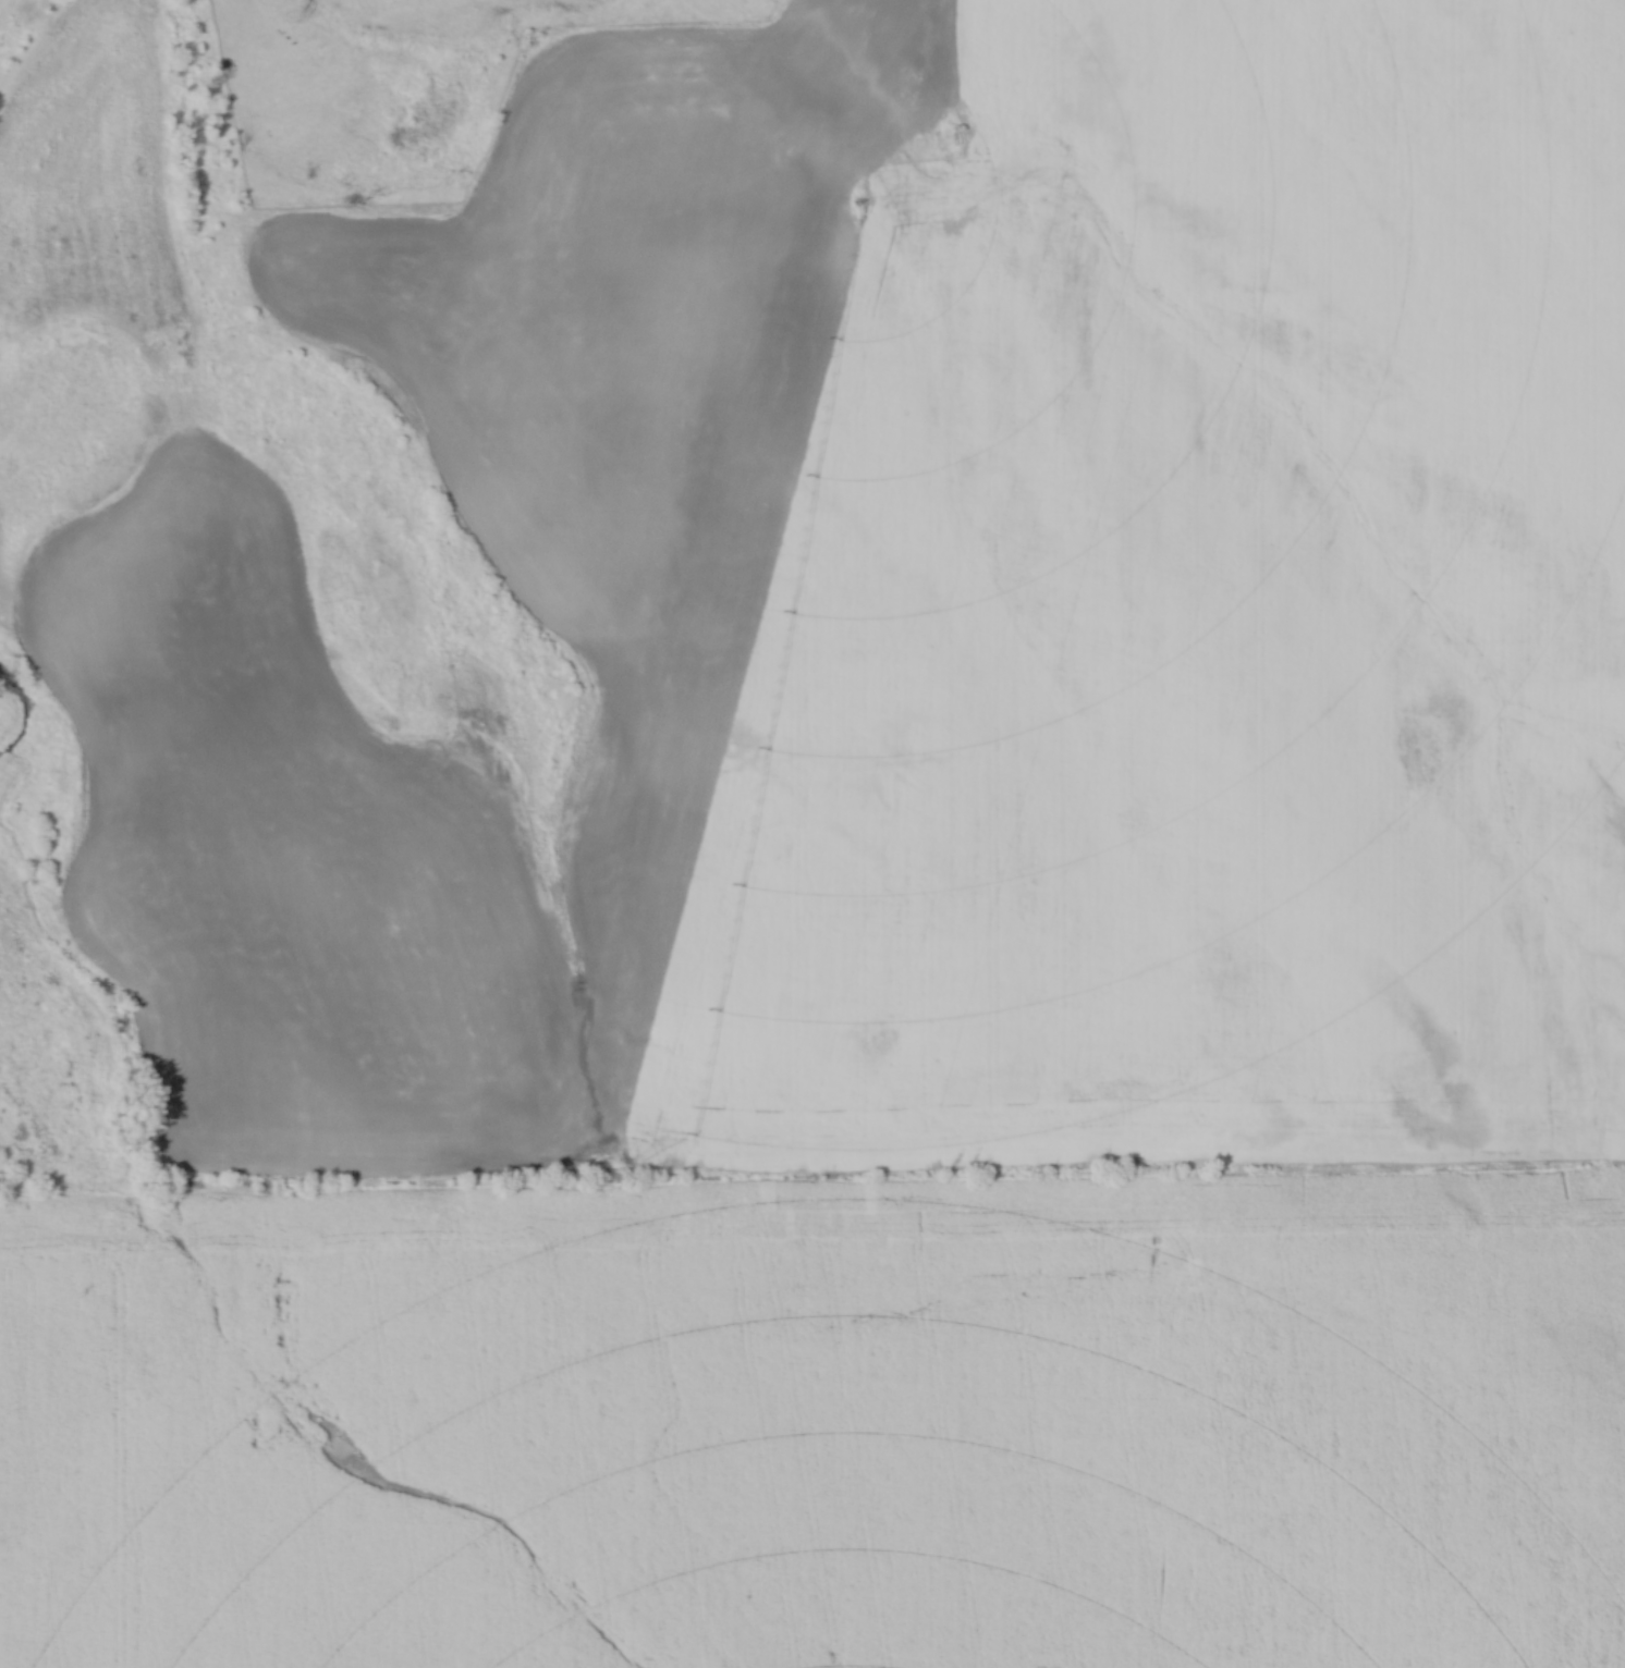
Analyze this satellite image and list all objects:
river: (27, 710)

